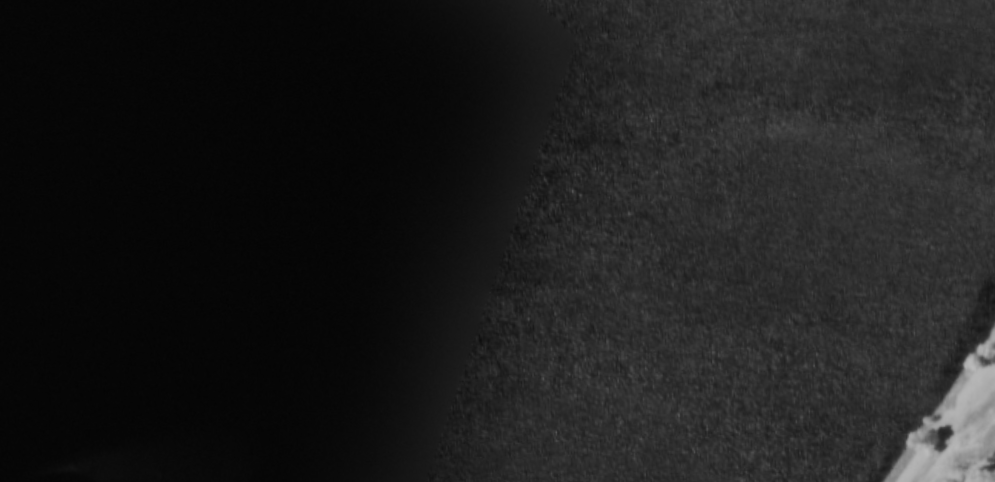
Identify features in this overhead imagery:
river: (809, 241)

